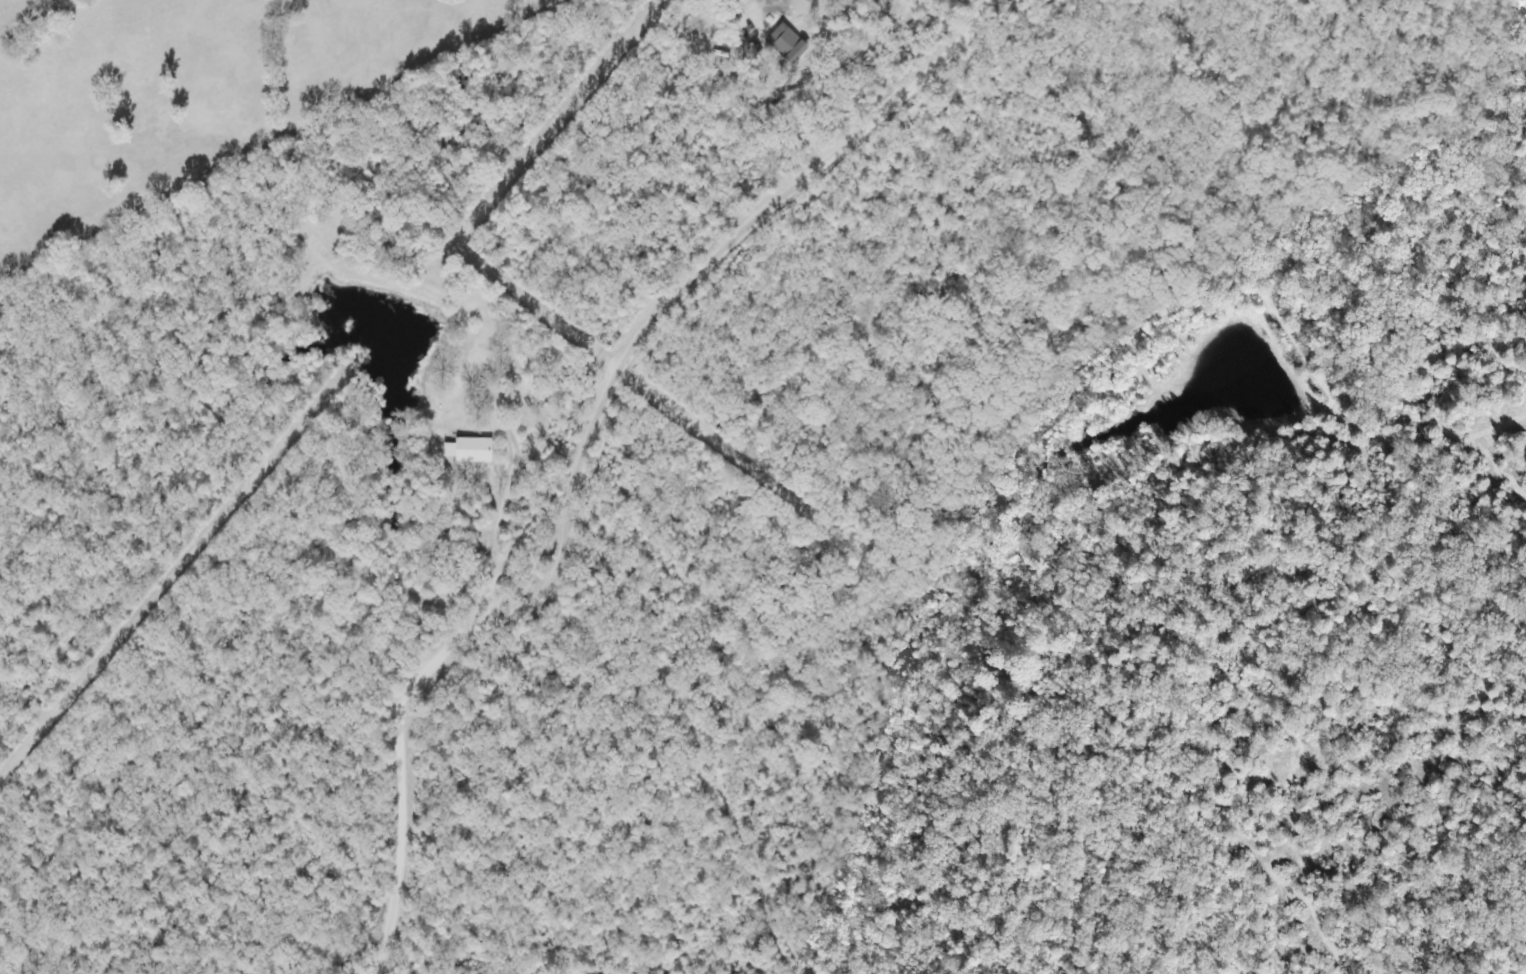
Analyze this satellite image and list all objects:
building: (471, 450)
road: (606, 452)

